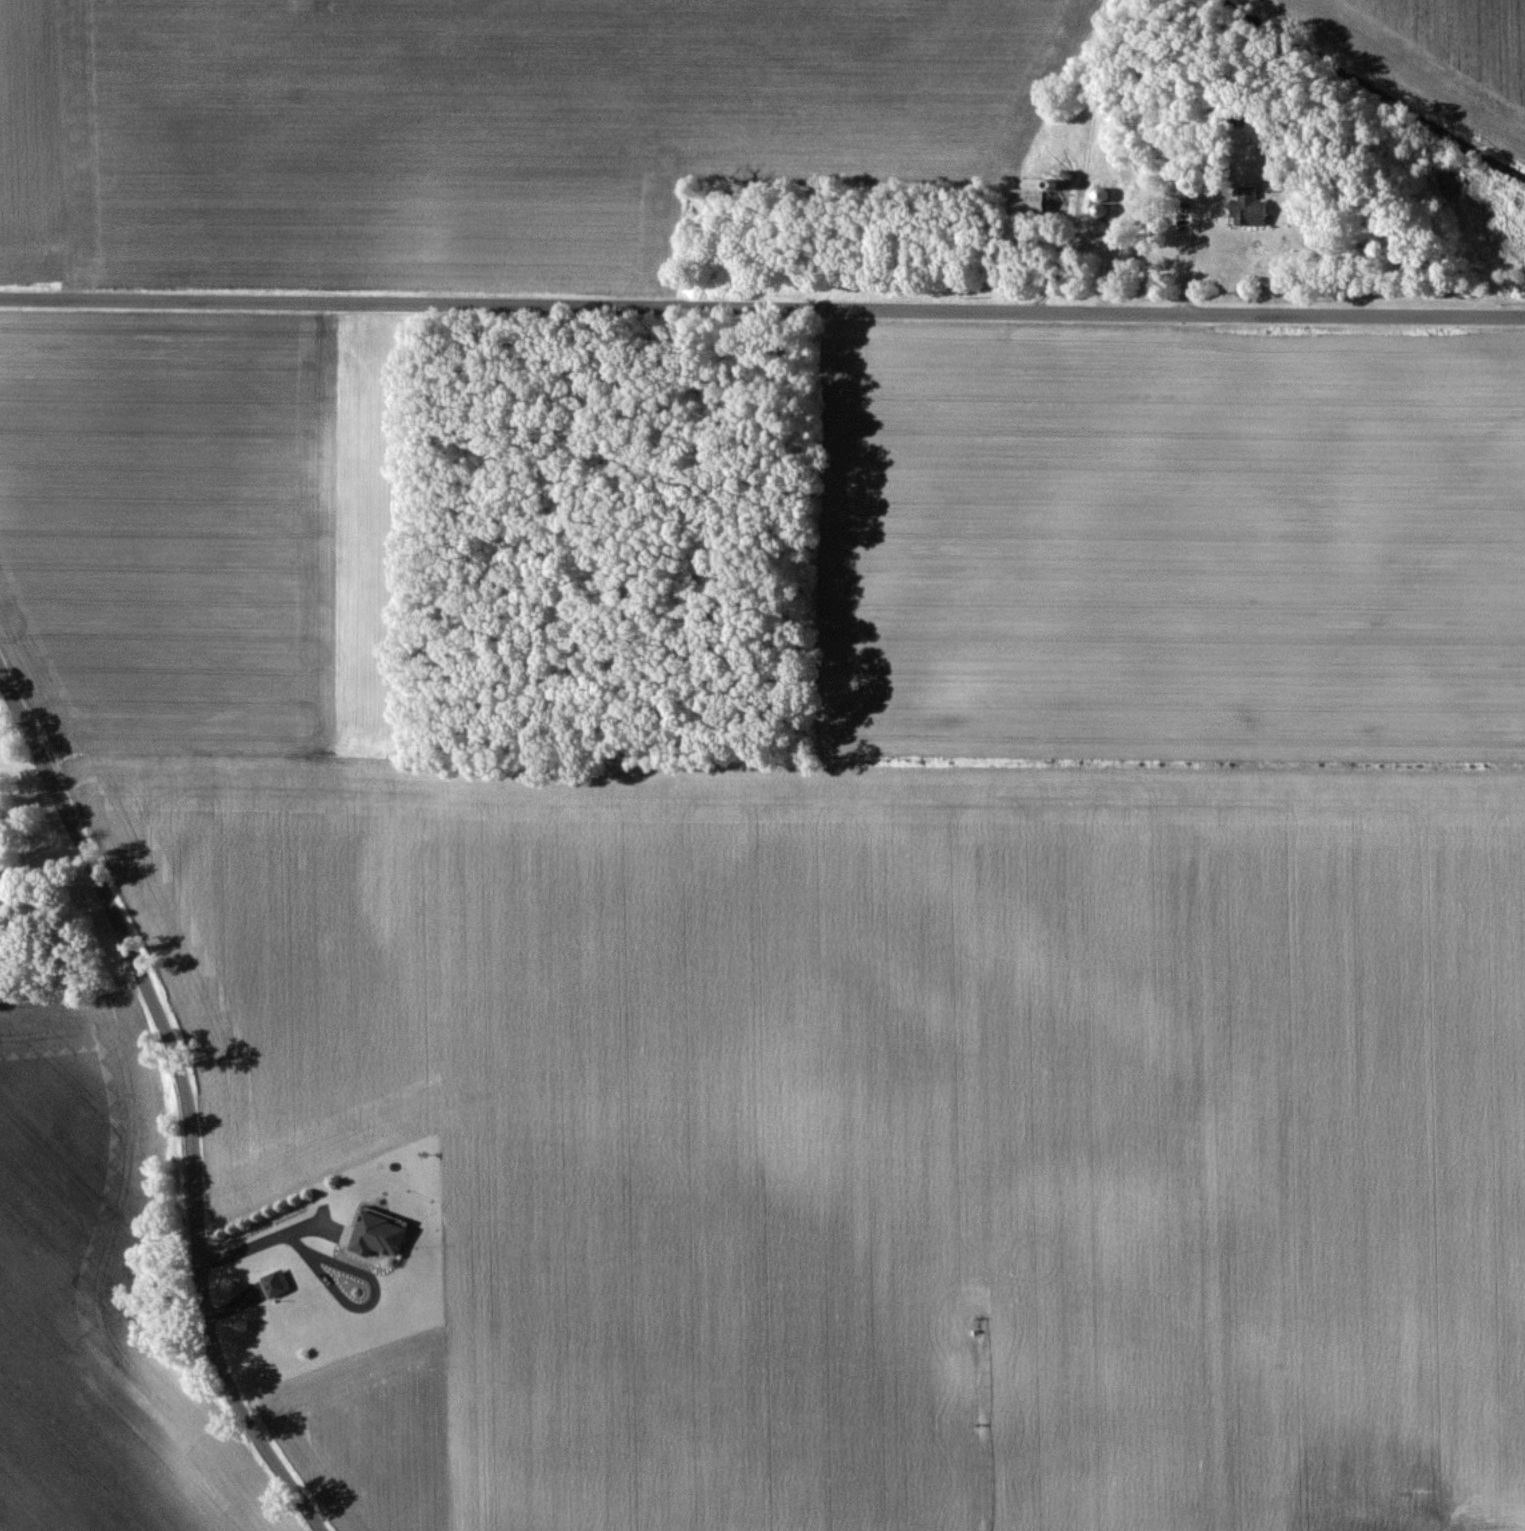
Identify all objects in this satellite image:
building: (1028, 199)
building: (1247, 210)
road: (1192, 245)
road: (762, 306)
road: (187, 1095)
building: (377, 1234)
road: (258, 1242)
road: (317, 1259)
building: (274, 1283)

